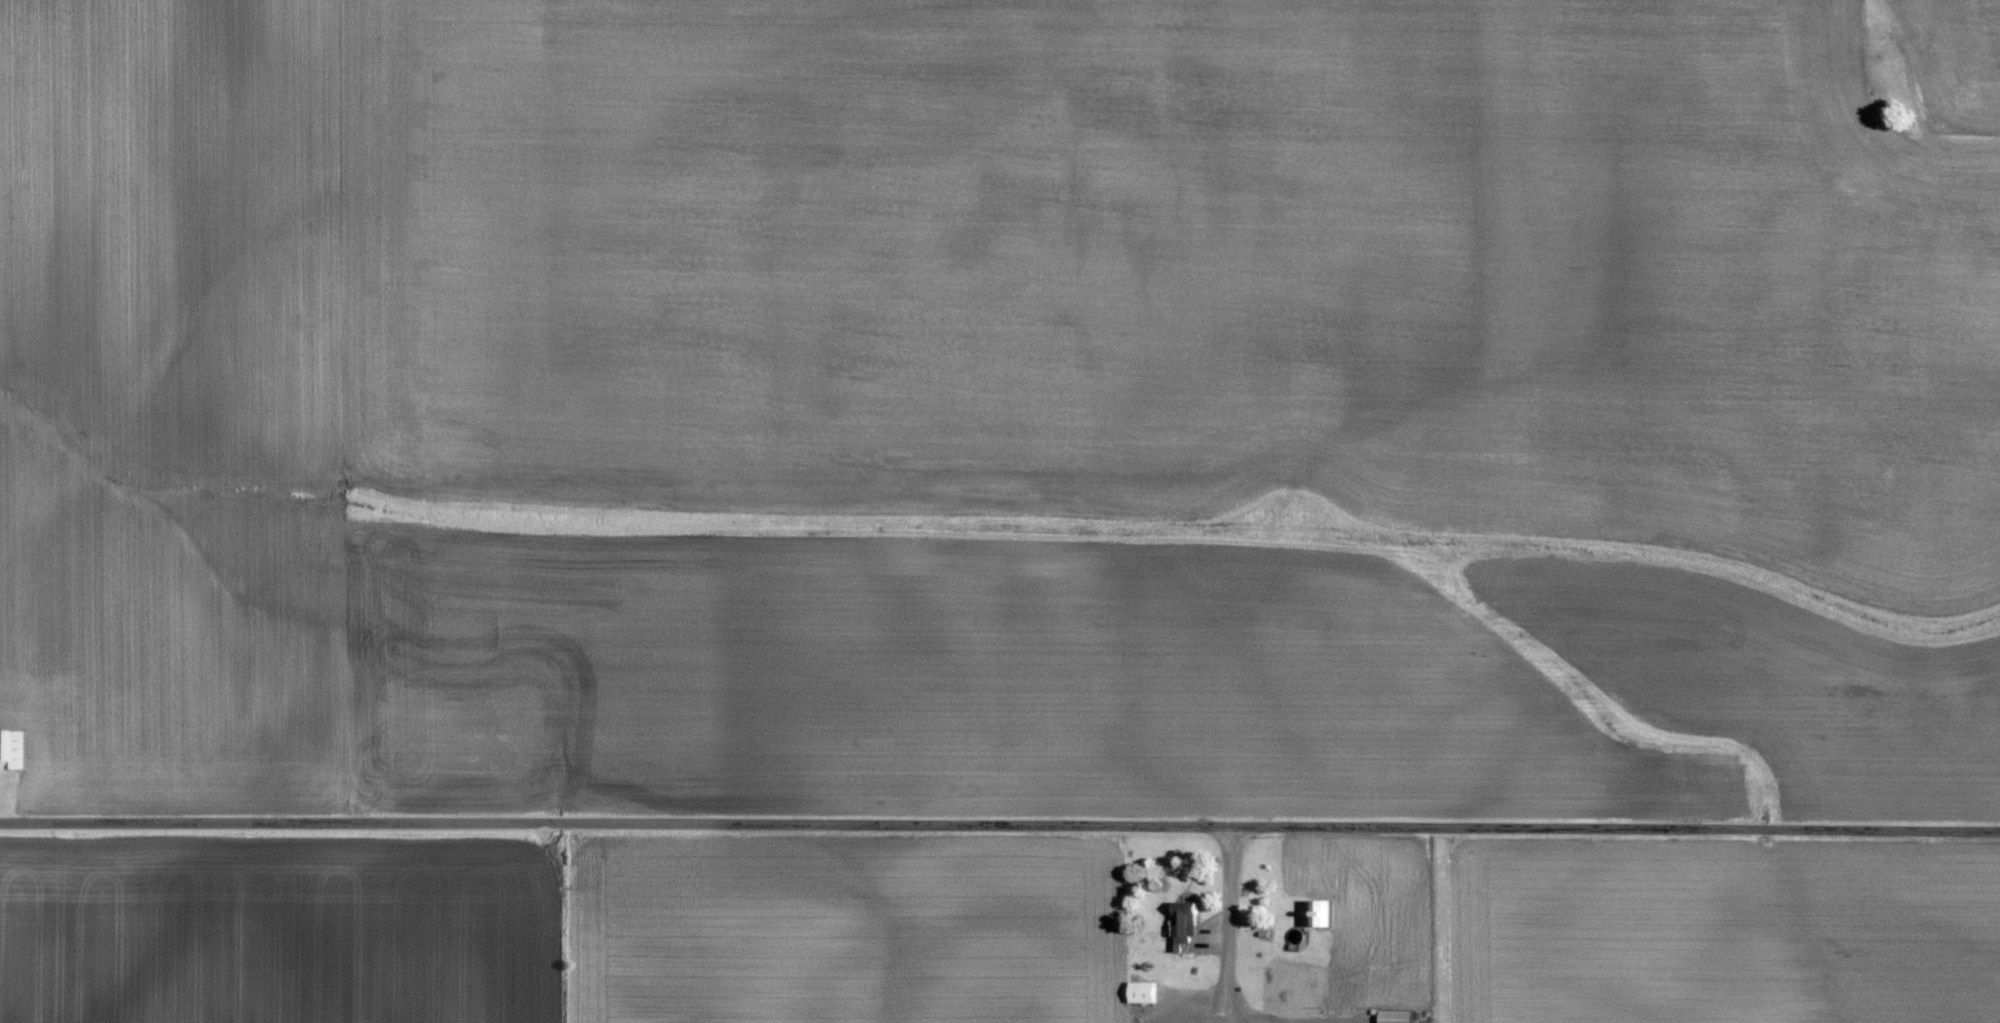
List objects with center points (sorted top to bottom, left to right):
road: (1914, 104)
building: (6, 752)
road: (1000, 823)
road: (1237, 924)
building: (1139, 994)
building: (1396, 1018)

